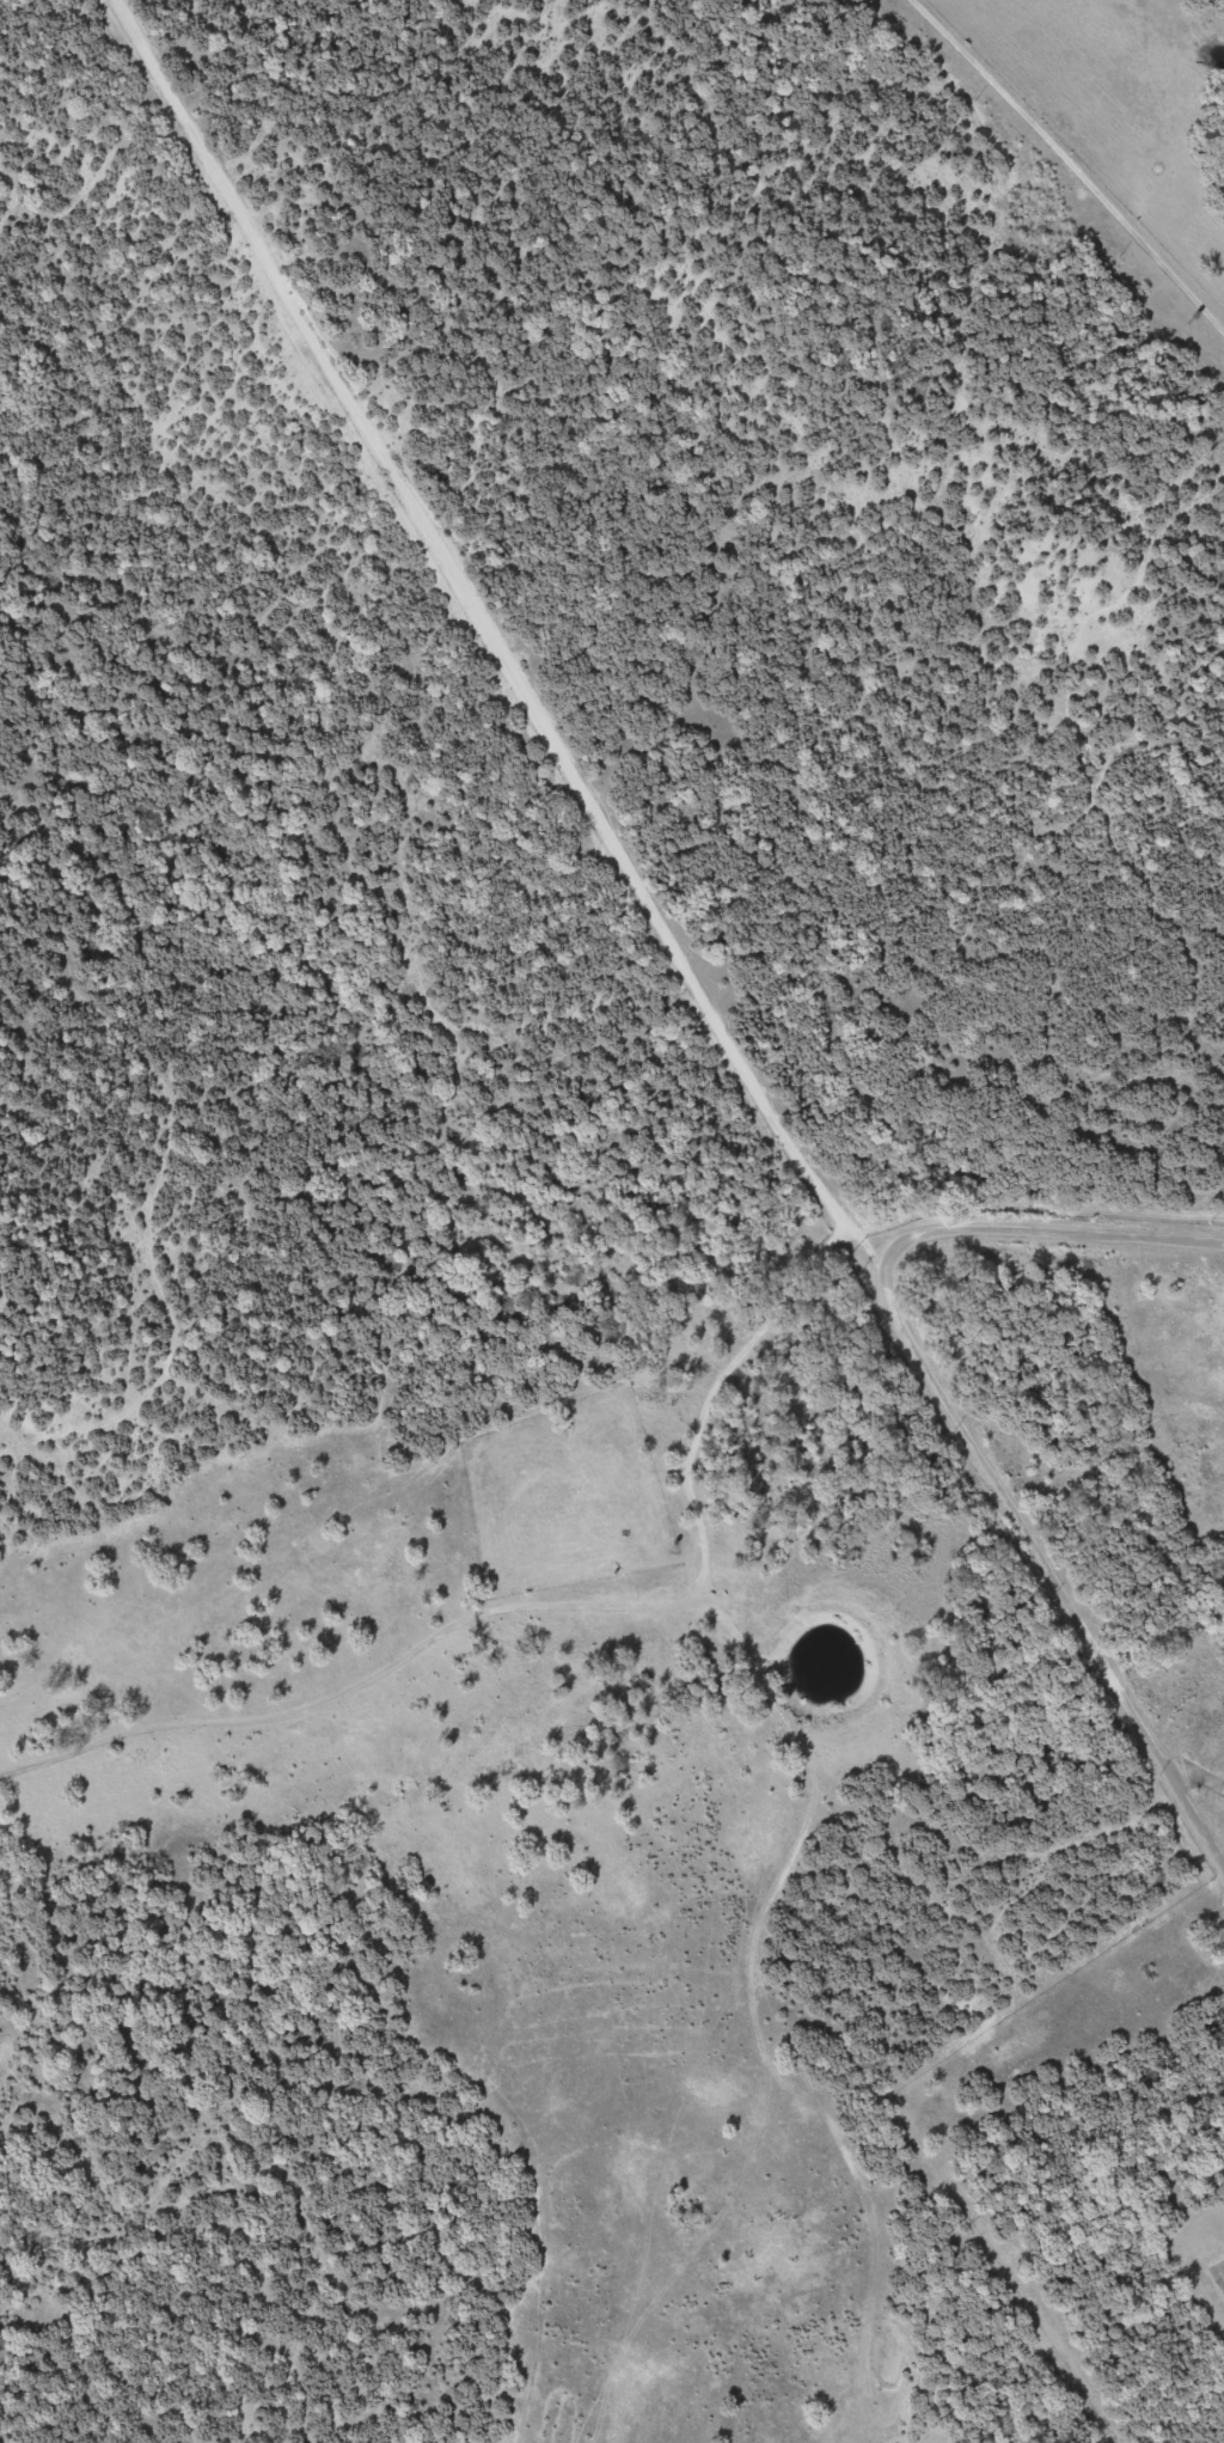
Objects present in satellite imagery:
road: (1041, 1213)
road: (1039, 1557)

